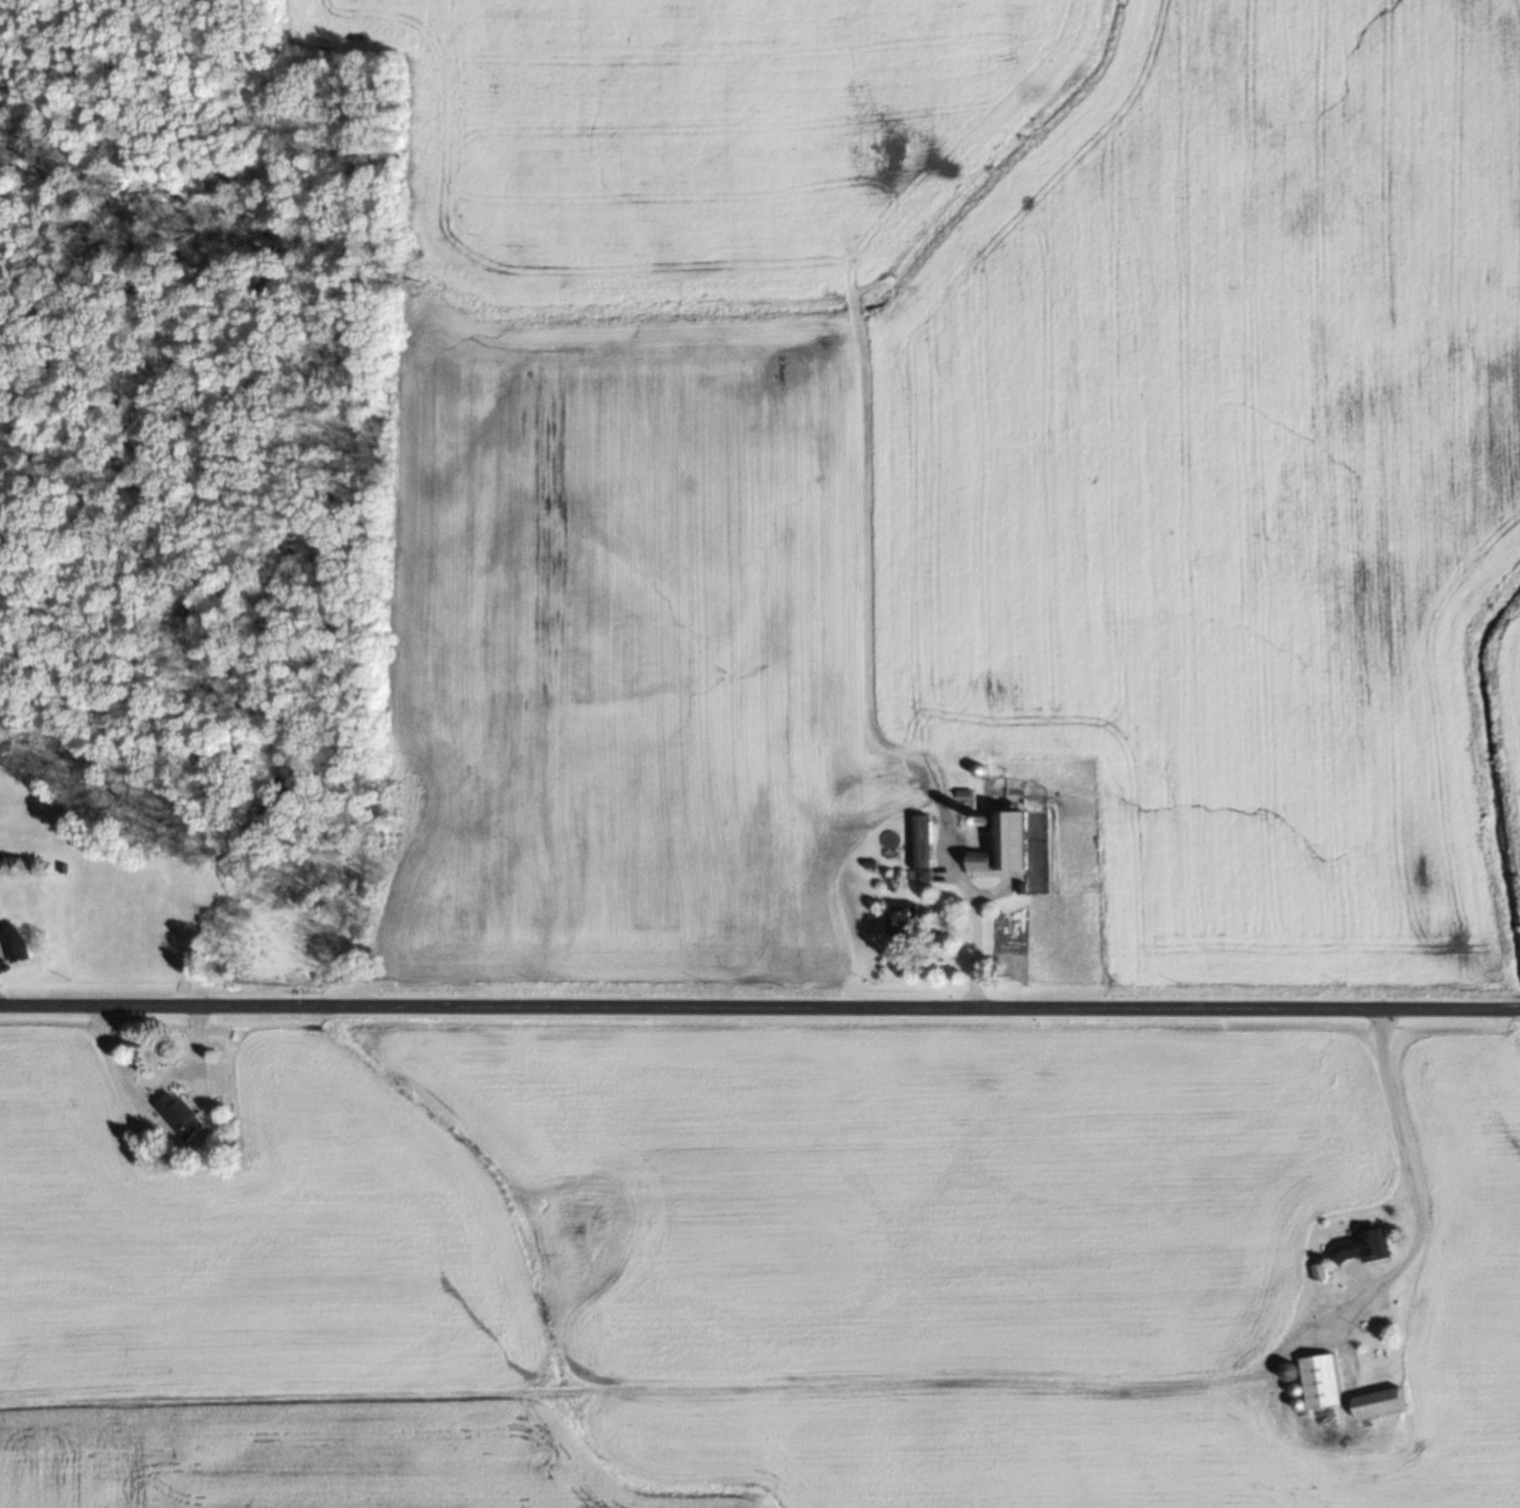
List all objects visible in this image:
building: (1012, 840)
building: (918, 846)
building: (976, 861)
building: (899, 920)
building: (12, 943)
road: (760, 1009)
building: (177, 1114)
building: (1358, 1247)
building: (1317, 1380)
building: (1374, 1402)

